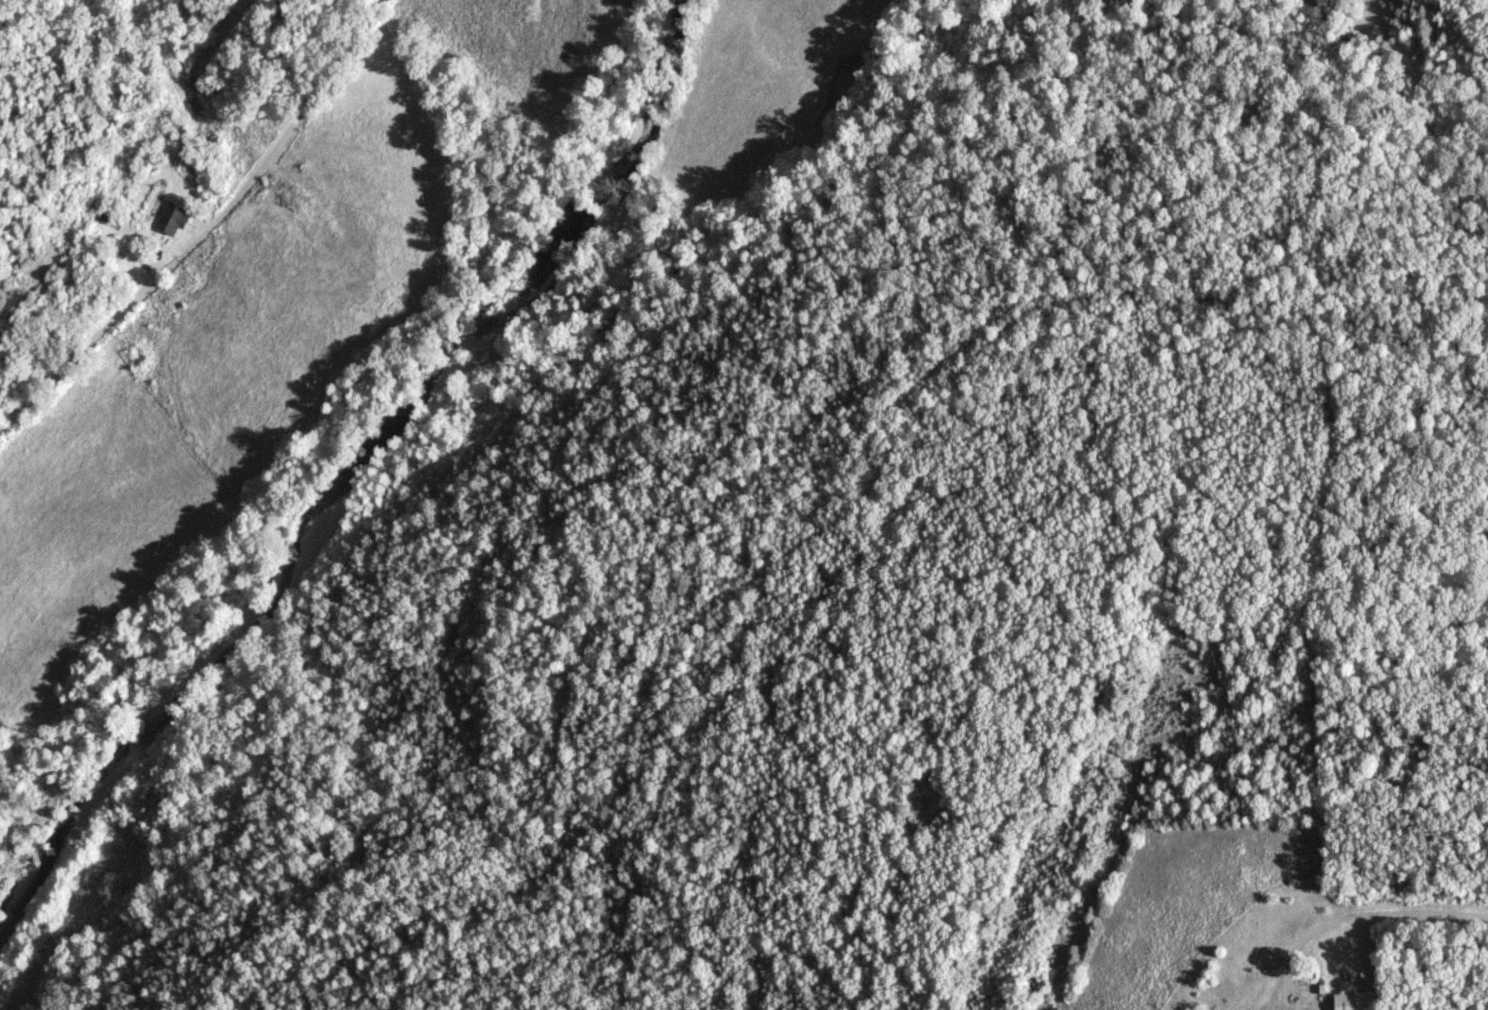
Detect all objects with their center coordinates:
road: (196, 213)
building: (171, 218)
road: (1347, 919)
building: (1355, 1001)

